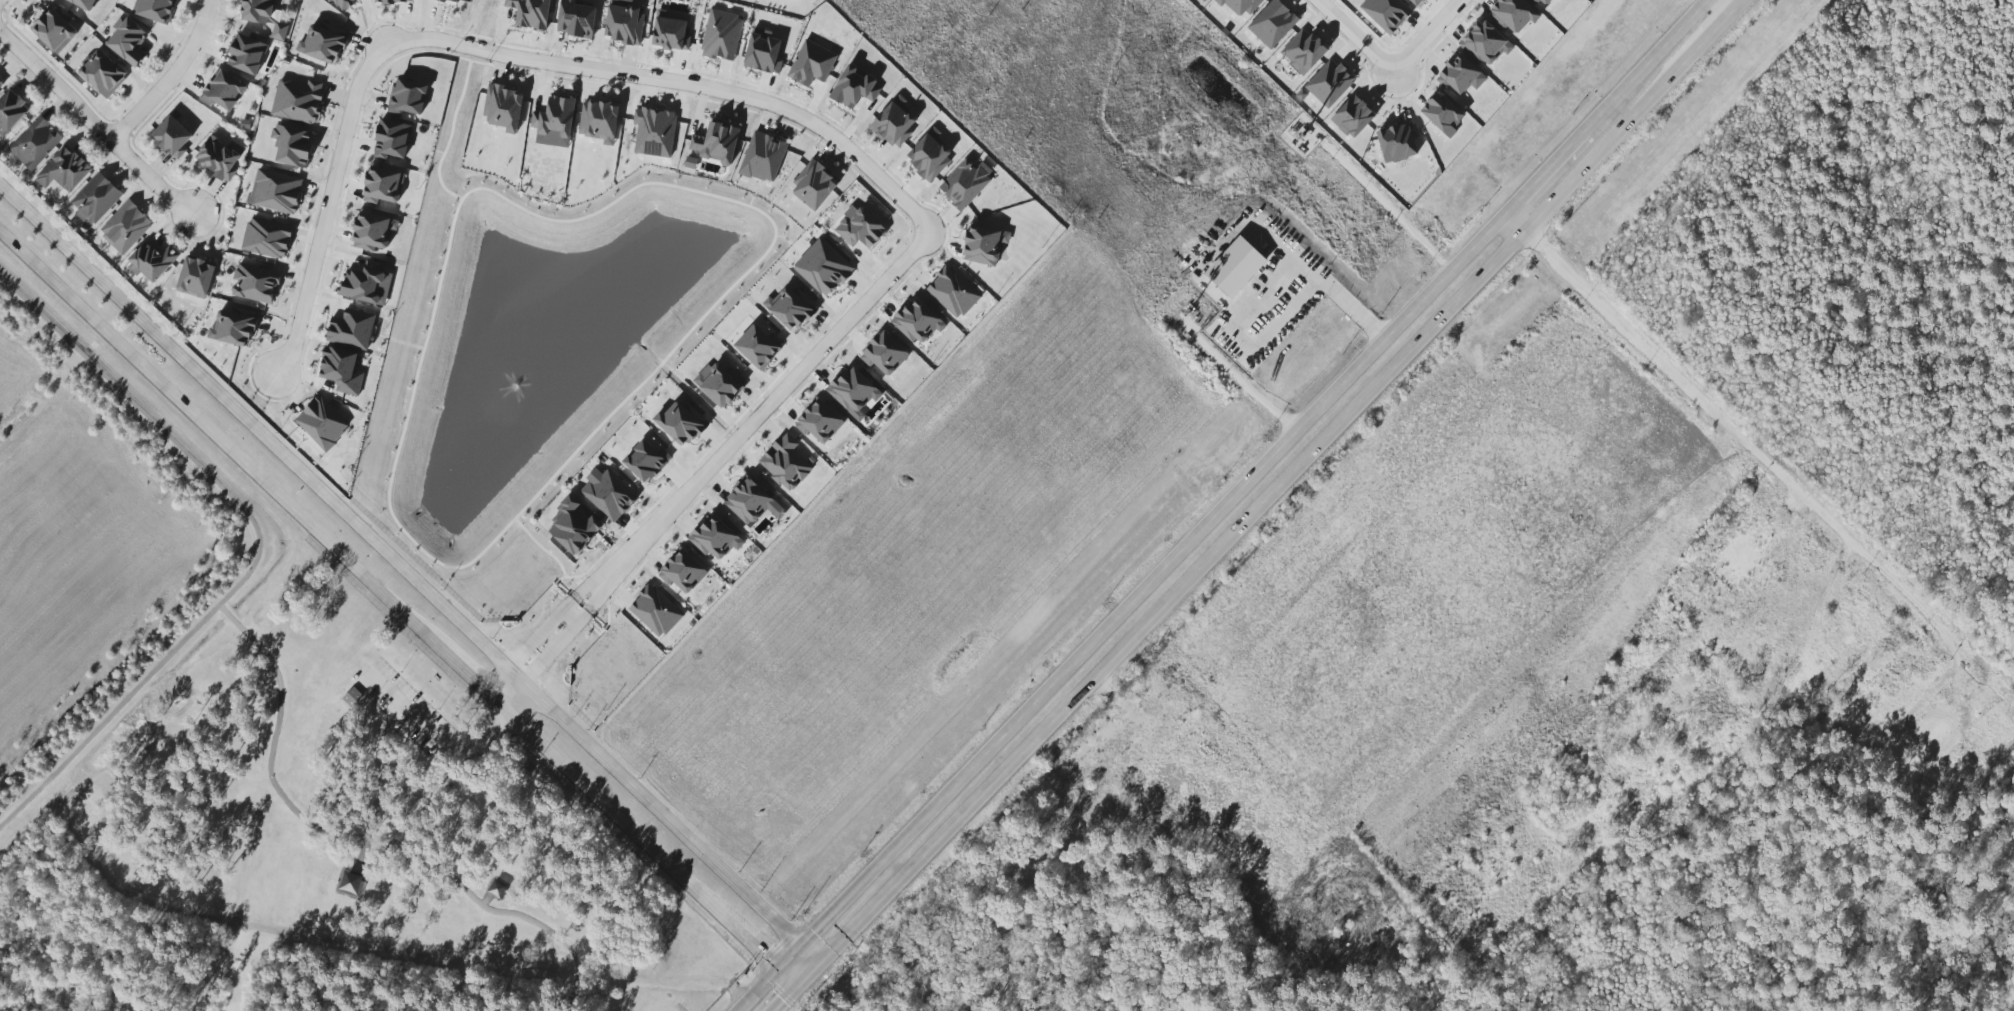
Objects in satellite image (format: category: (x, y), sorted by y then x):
building: (392, 2)
building: (1414, 2)
building: (1542, 2)
building: (83, 3)
building: (342, 3)
road: (1737, 3)
building: (1240, 5)
building: (530, 13)
building: (1386, 13)
building: (1512, 15)
building: (264, 16)
building: (575, 19)
building: (624, 22)
building: (1271, 25)
building: (54, 31)
building: (669, 33)
building: (721, 35)
building: (127, 41)
building: (1485, 43)
building: (322, 45)
building: (1303, 51)
building: (762, 52)
building: (246, 54)
building: (811, 64)
road: (1643, 65)
building: (103, 74)
road: (169, 75)
road: (1387, 75)
building: (1460, 75)
building: (1, 82)
building: (1329, 83)
road: (681, 84)
building: (854, 87)
building: (223, 91)
building: (408, 97)
building: (298, 101)
building: (503, 108)
building: (11, 112)
building: (1442, 114)
building: (1353, 117)
building: (598, 121)
building: (554, 123)
building: (894, 123)
road: (96, 124)
building: (654, 132)
building: (172, 137)
building: (391, 140)
building: (1397, 142)
building: (35, 143)
building: (716, 143)
building: (292, 146)
building: (929, 155)
building: (763, 158)
building: (218, 159)
building: (64, 170)
road: (1543, 172)
building: (964, 184)
building: (382, 186)
building: (813, 186)
building: (275, 192)
building: (96, 199)
road: (1382, 199)
road: (325, 210)
building: (125, 227)
building: (860, 228)
building: (372, 232)
building: (266, 238)
building: (983, 245)
building: (152, 261)
building: (1235, 267)
building: (823, 268)
road: (1194, 273)
building: (196, 277)
building: (255, 283)
building: (363, 283)
building: (953, 292)
building: (790, 308)
building: (918, 322)
building: (232, 328)
building: (351, 329)
building: (757, 346)
building: (884, 354)
building: (341, 371)
building: (718, 384)
building: (853, 392)
road: (767, 408)
building: (322, 423)
building: (680, 424)
building: (821, 426)
road: (1752, 444)
building: (645, 461)
building: (785, 463)
building: (608, 494)
road: (1275, 495)
building: (749, 501)
building: (1745, 517)
building: (573, 526)
building: (715, 538)
road: (258, 549)
building: (1733, 571)
building: (682, 572)
road: (408, 575)
road: (1836, 589)
road: (398, 605)
building: (655, 611)
road: (1120, 614)
building: (1860, 615)
road: (552, 622)
road: (567, 636)
building: (1798, 677)
building: (1676, 692)
building: (351, 697)
parking lot: (403, 707)
building: (1935, 733)
road: (439, 741)
park: (353, 809)
building: (1140, 824)
building: (1078, 826)
road: (366, 841)
road: (378, 945)
traffic signals: (800, 947)
traffic signals: (817, 963)
traffic signals: (779, 968)
traffic signals: (796, 984)
road: (783, 997)

